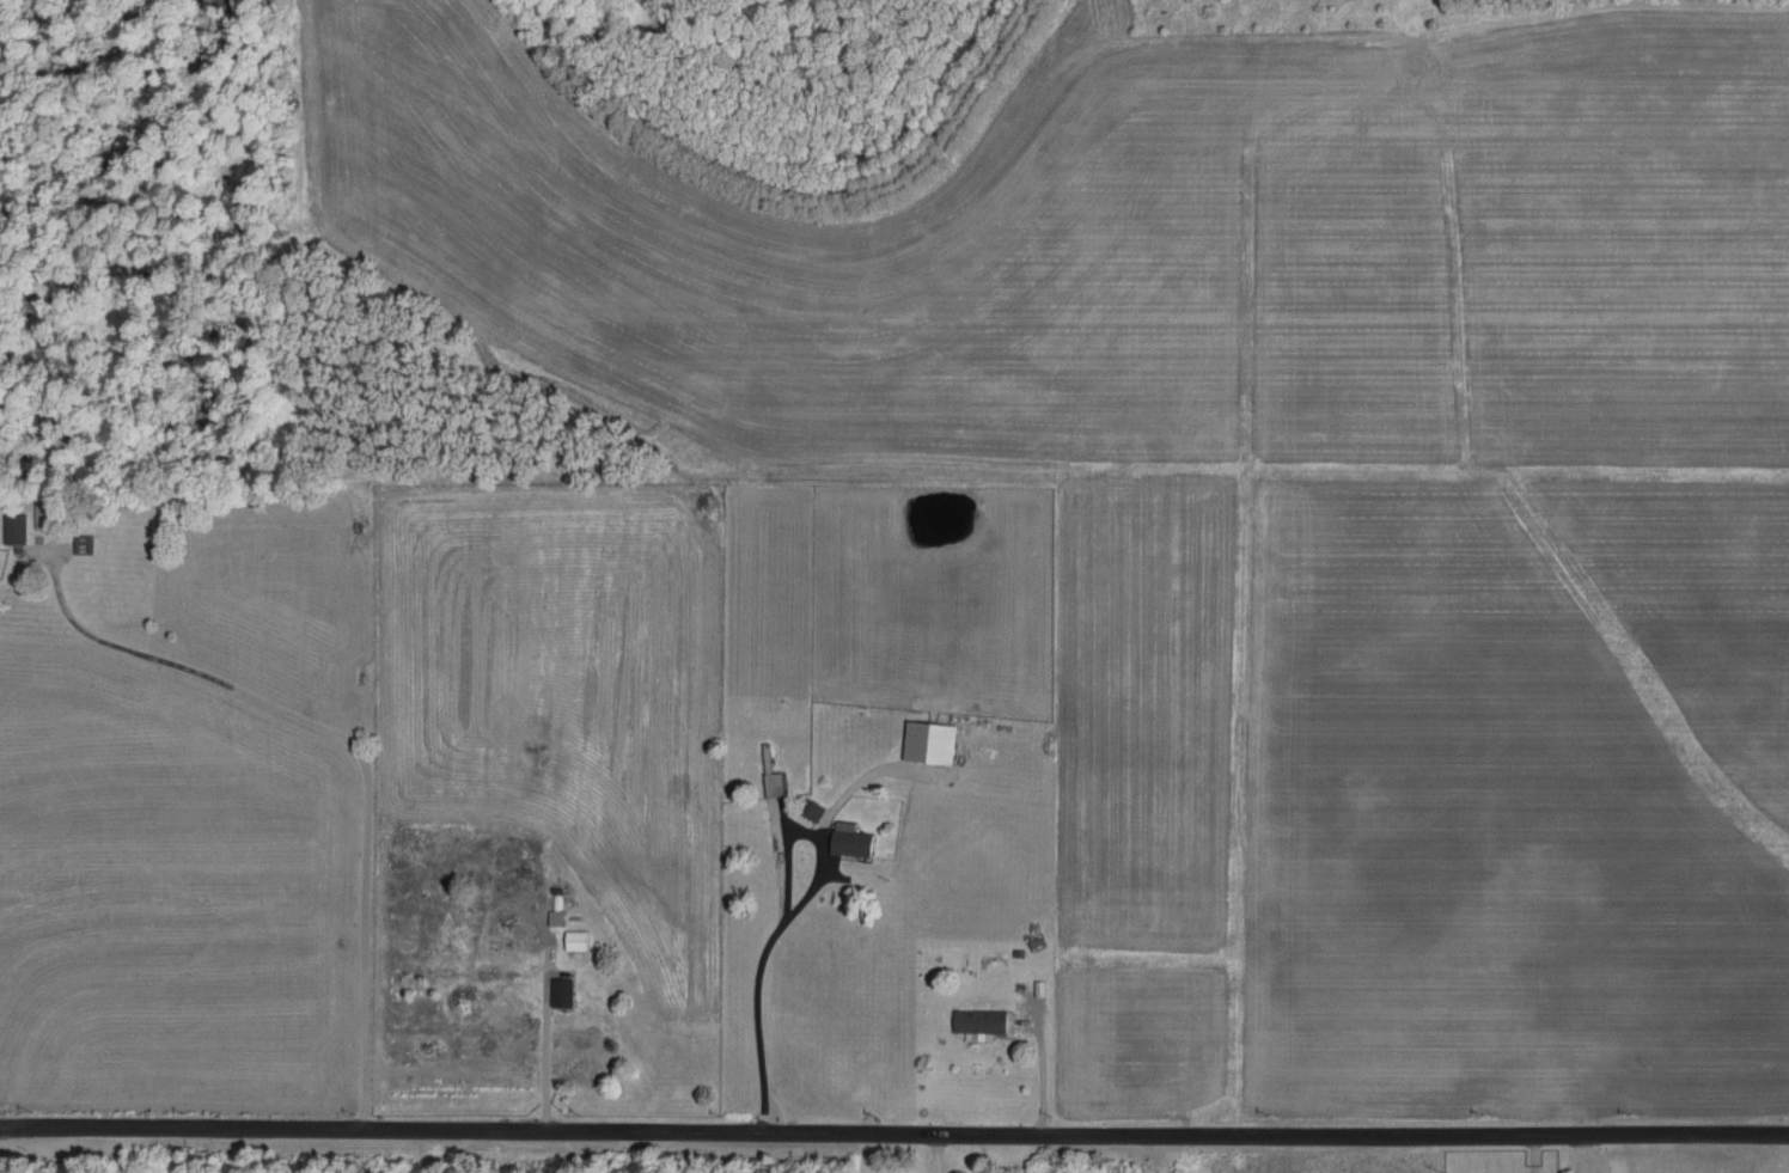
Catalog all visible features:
building: (929, 741)
road: (344, 751)
building: (774, 783)
building: (812, 808)
building: (850, 839)
road: (755, 991)
building: (979, 1022)
road: (551, 1067)
road: (894, 1129)
road: (939, 1151)

